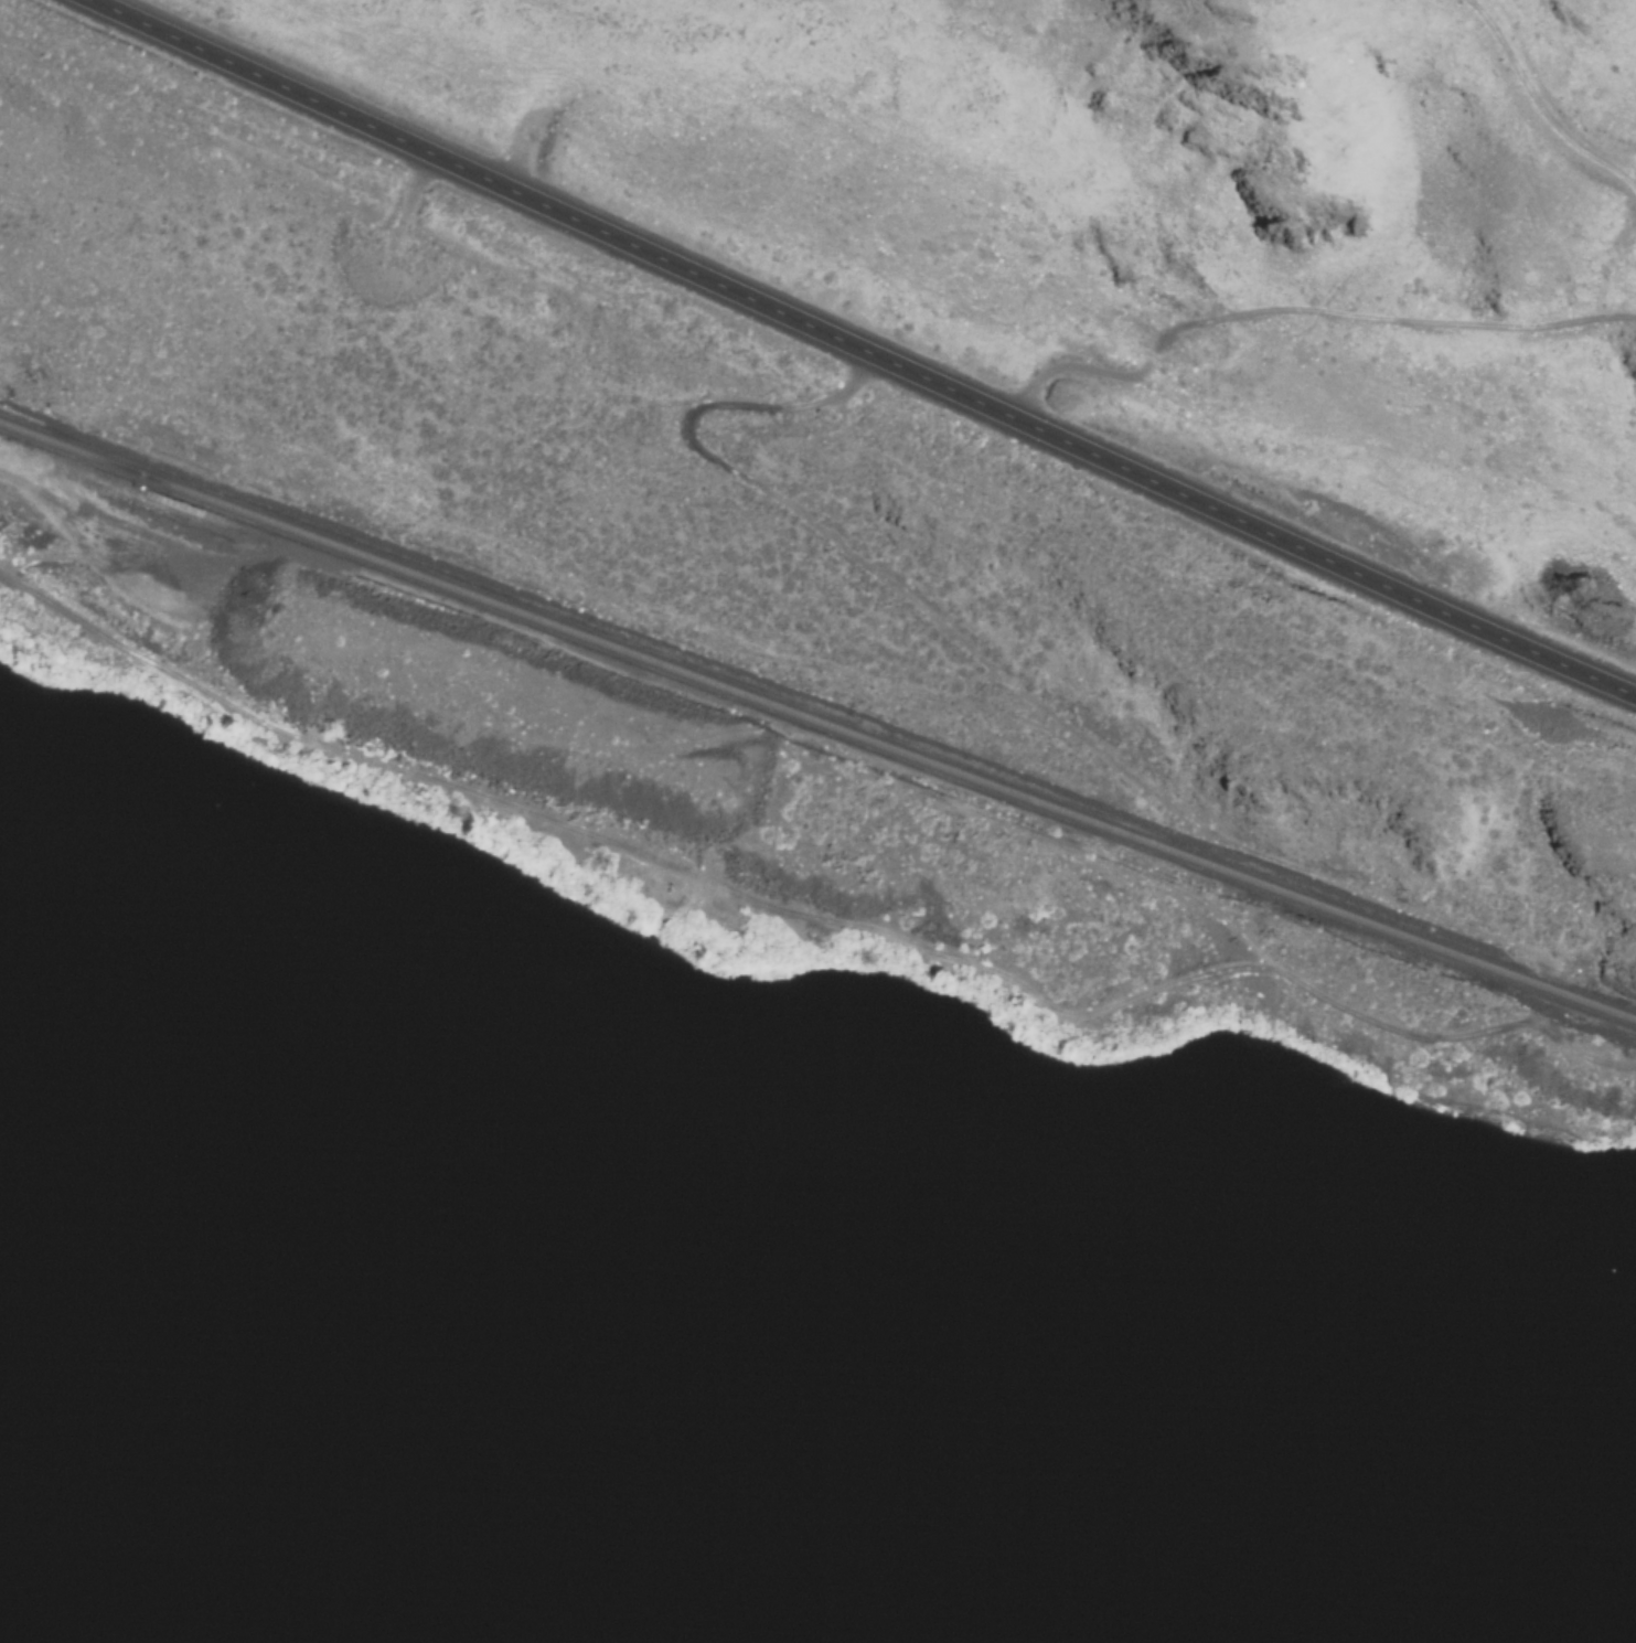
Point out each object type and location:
road: (1538, 106)
road: (1303, 309)
road: (864, 349)
railway: (817, 722)
road: (809, 915)

